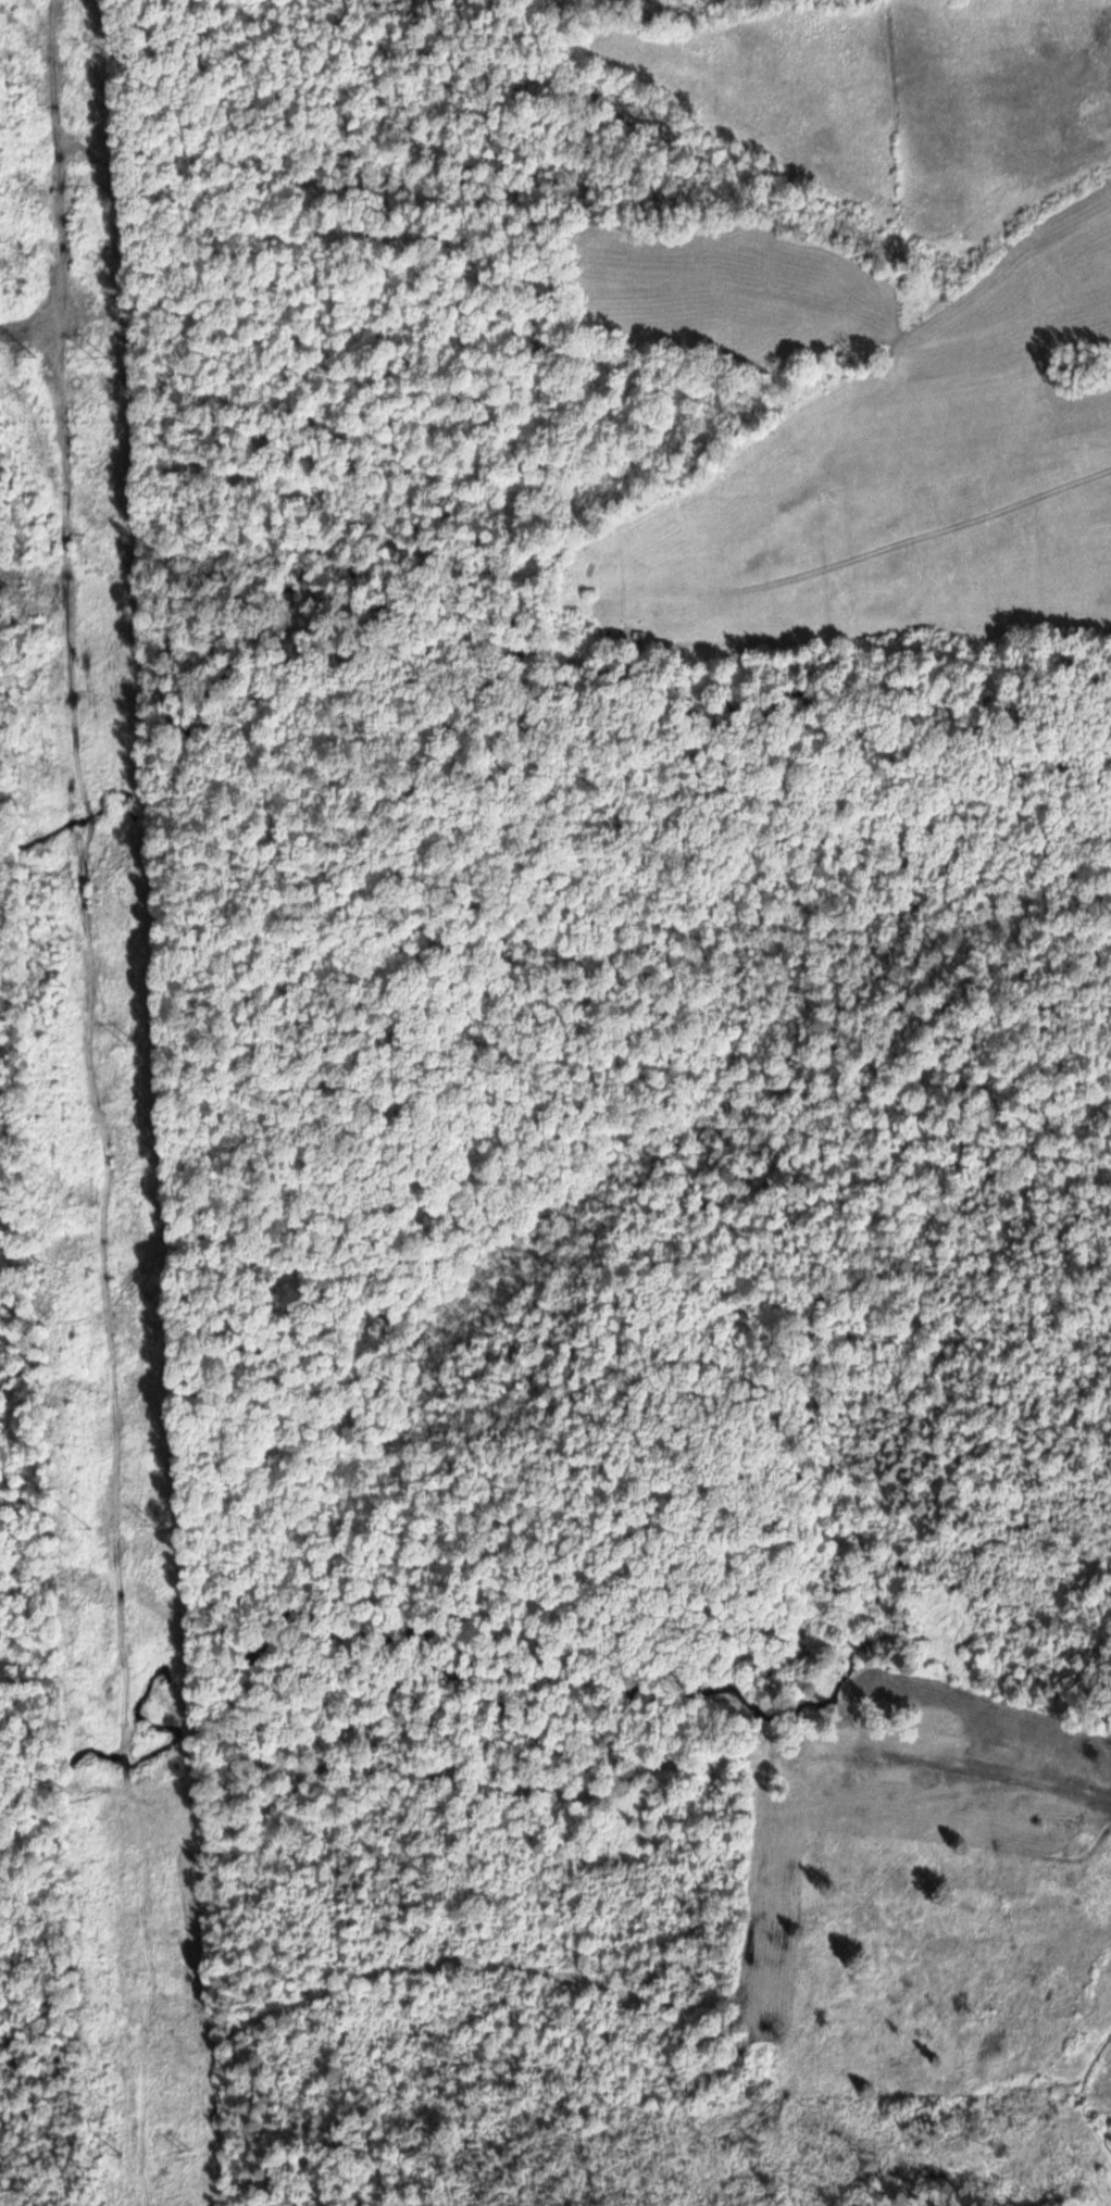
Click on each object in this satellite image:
river: (941, 2173)

